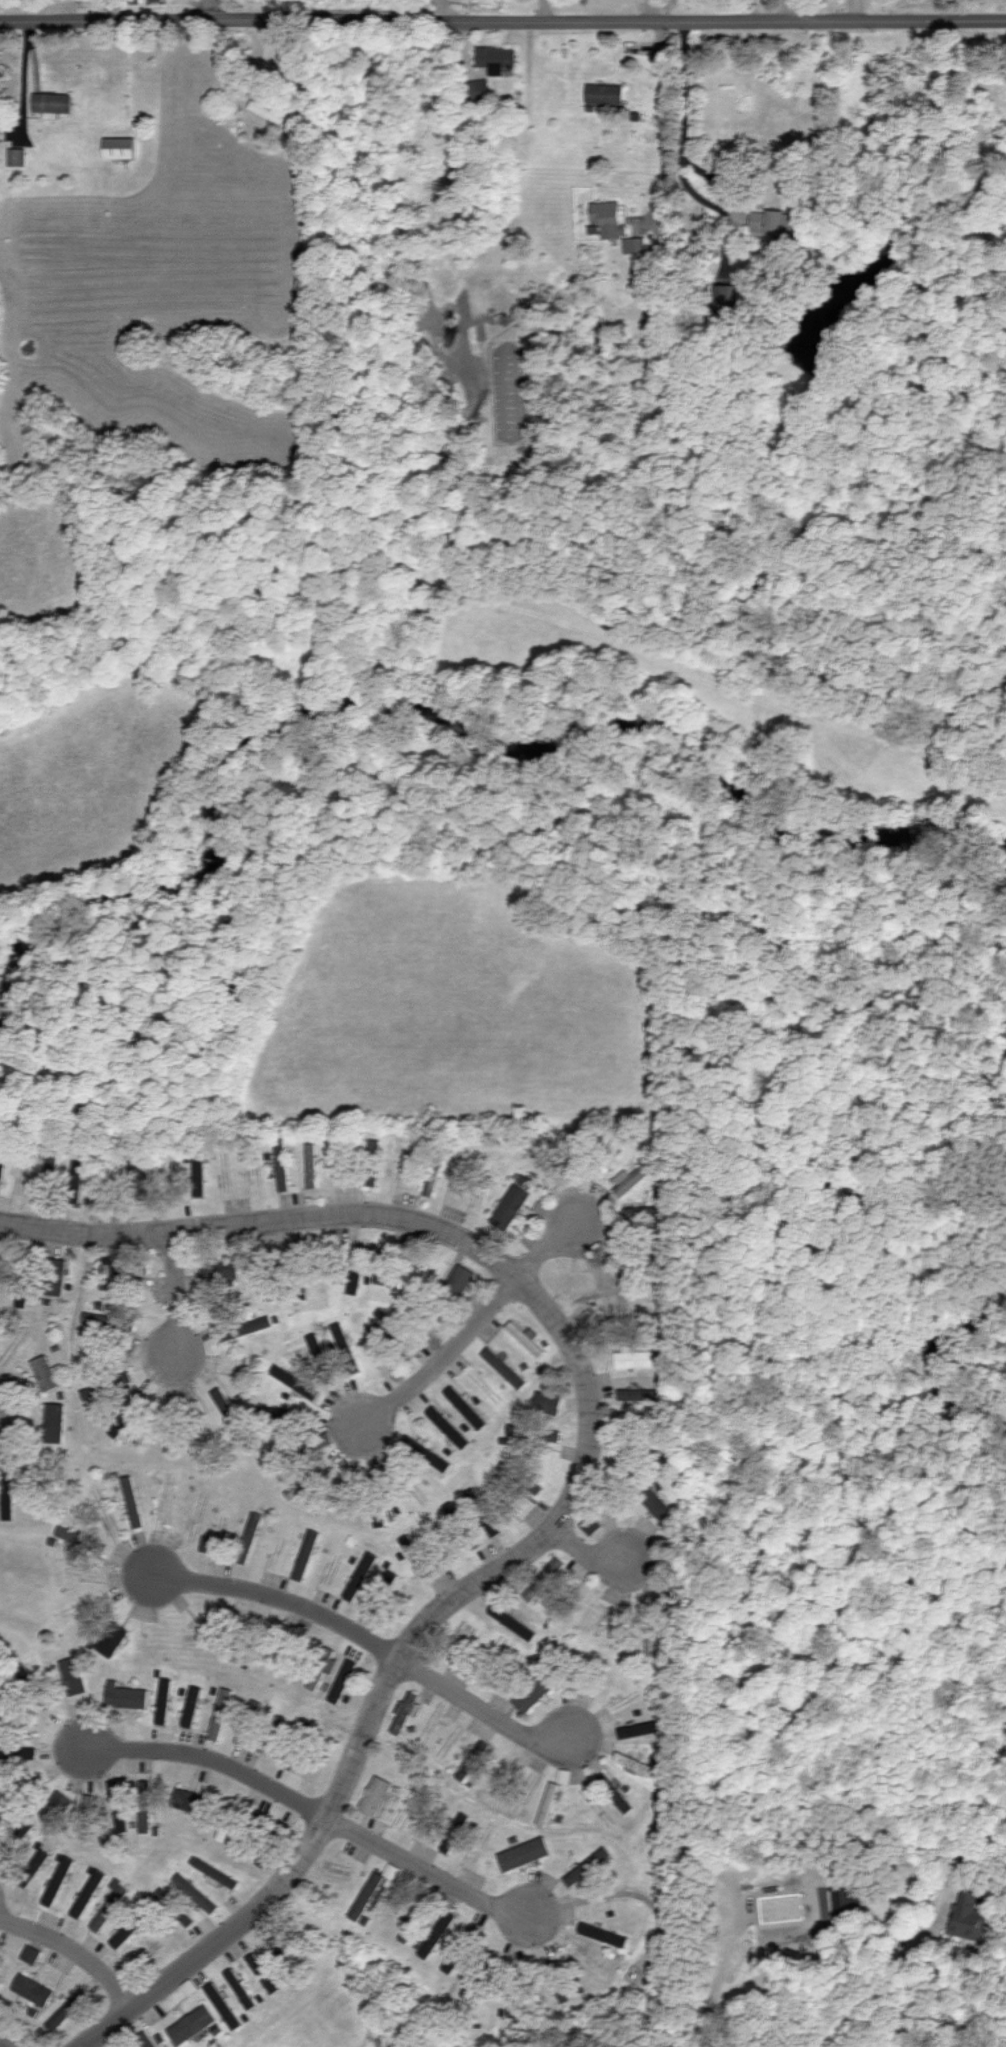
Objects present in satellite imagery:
building: (153, 0)
road: (204, 7)
road: (785, 9)
road: (502, 22)
building: (495, 58)
building: (604, 93)
building: (52, 103)
building: (266, 111)
road: (663, 128)
building: (119, 147)
building: (17, 156)
building: (609, 218)
building: (774, 222)
building: (634, 244)
building: (726, 297)
building: (602, 336)
building: (311, 1165)
building: (282, 1166)
building: (49, 1167)
building: (138, 1170)
building: (1, 1173)
building: (199, 1175)
building: (372, 1176)
building: (633, 1176)
building: (431, 1181)
building: (510, 1206)
building: (542, 1207)
building: (647, 1215)
road: (549, 1247)
building: (121, 1266)
building: (220, 1270)
building: (383, 1272)
building: (56, 1276)
building: (461, 1278)
building: (354, 1279)
road: (175, 1294)
building: (385, 1317)
building: (245, 1326)
building: (526, 1337)
building: (346, 1347)
building: (633, 1357)
building: (322, 1358)
road: (442, 1360)
building: (504, 1367)
building: (45, 1372)
building: (296, 1381)
building: (88, 1393)
building: (641, 1394)
building: (547, 1402)
building: (224, 1407)
building: (466, 1407)
building: (55, 1422)
building: (118, 1424)
building: (448, 1426)
building: (533, 1432)
building: (425, 1453)
building: (520, 1477)
road: (582, 1481)
building: (299, 1486)
building: (132, 1501)
building: (8, 1505)
building: (658, 1505)
building: (452, 1511)
building: (590, 1524)
building: (249, 1537)
building: (88, 1542)
building: (306, 1554)
building: (417, 1555)
road: (591, 1556)
building: (361, 1576)
building: (544, 1578)
building: (382, 1596)
building: (512, 1621)
building: (112, 1639)
building: (651, 1640)
road: (373, 1644)
building: (73, 1675)
building: (343, 1680)
building: (315, 1681)
building: (533, 1693)
building: (126, 1696)
building: (164, 1701)
building: (192, 1706)
building: (405, 1711)
building: (221, 1713)
building: (640, 1728)
building: (267, 1744)
building: (18, 1751)
building: (473, 1760)
building: (635, 1763)
building: (116, 1789)
building: (376, 1794)
building: (619, 1798)
building: (547, 1803)
building: (56, 1807)
road: (313, 1808)
building: (86, 1815)
building: (145, 1819)
building: (455, 1832)
building: (524, 1853)
building: (588, 1866)
building: (213, 1871)
building: (57, 1882)
building: (195, 1893)
building: (88, 1894)
building: (164, 1897)
building: (366, 1897)
building: (847, 1900)
building: (108, 1908)
building: (420, 1913)
building: (968, 1916)
building: (187, 1919)
building: (438, 1932)
building: (125, 1933)
building: (407, 1933)
building: (603, 1934)
building: (471, 1936)
building: (279, 1947)
road: (77, 1950)
building: (31, 1954)
building: (451, 1964)
building: (263, 1972)
road: (810, 1977)
building: (240, 1988)
building: (472, 1988)
building: (33, 1989)
building: (559, 1995)
building: (223, 2005)
building: (515, 2007)
building: (67, 2009)
building: (191, 2024)
road: (4, 2043)

